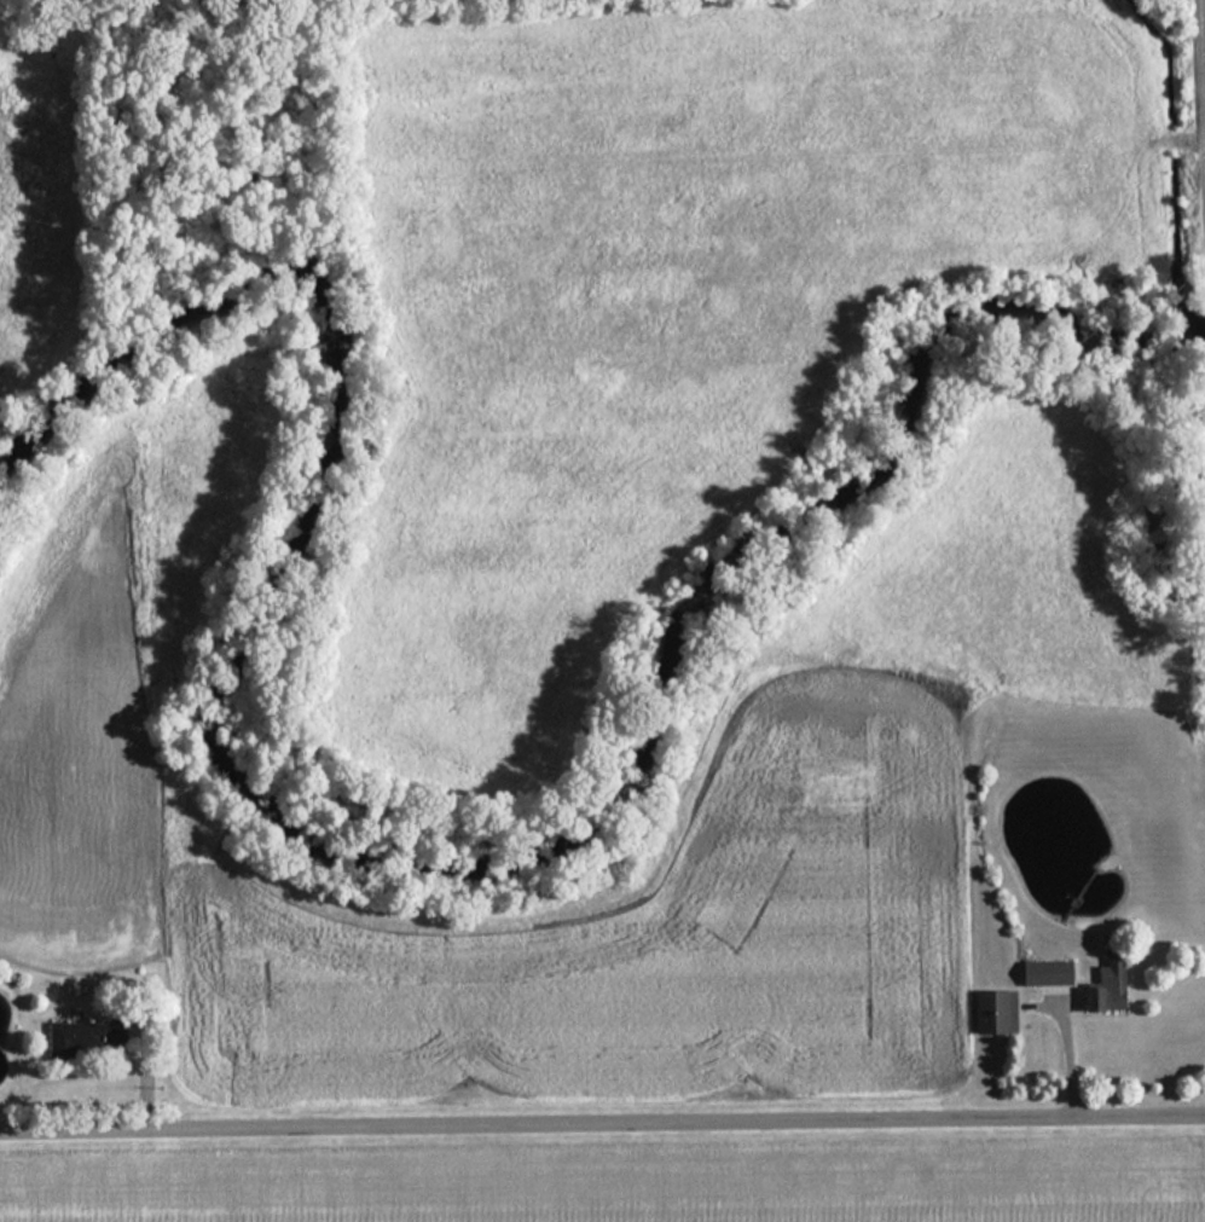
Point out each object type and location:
crop: (679, 289)
building: (1048, 973)
building: (995, 1013)
building: (86, 1038)
road: (602, 1123)
crop: (622, 1189)

